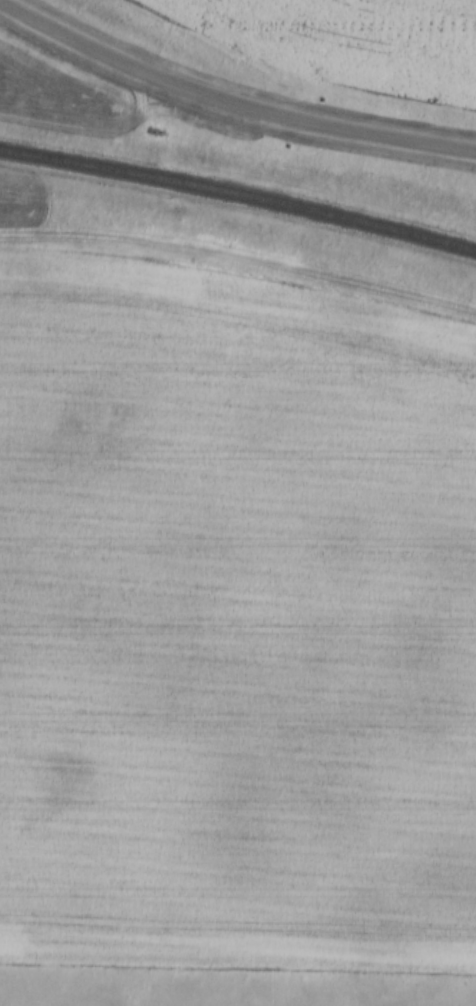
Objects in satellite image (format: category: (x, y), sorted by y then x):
road: (229, 102)
railway: (238, 202)
road: (238, 365)

